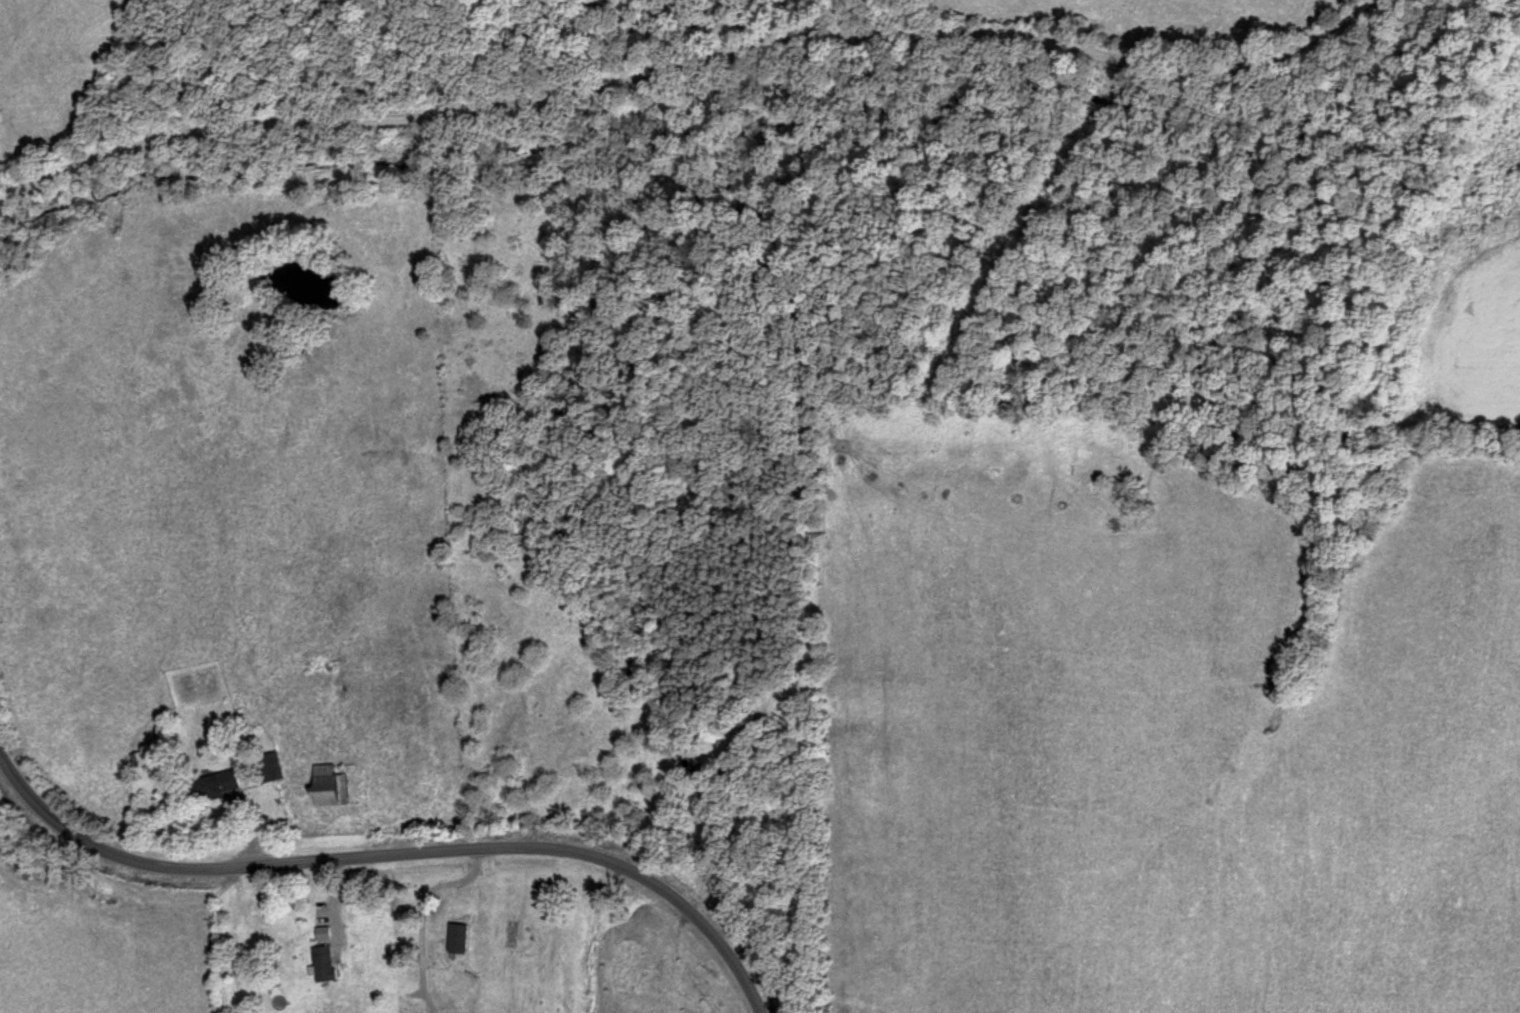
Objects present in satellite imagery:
road: (691, 61)
building: (220, 785)
building: (330, 785)
road: (394, 852)
building: (323, 963)
building: (655, 972)

